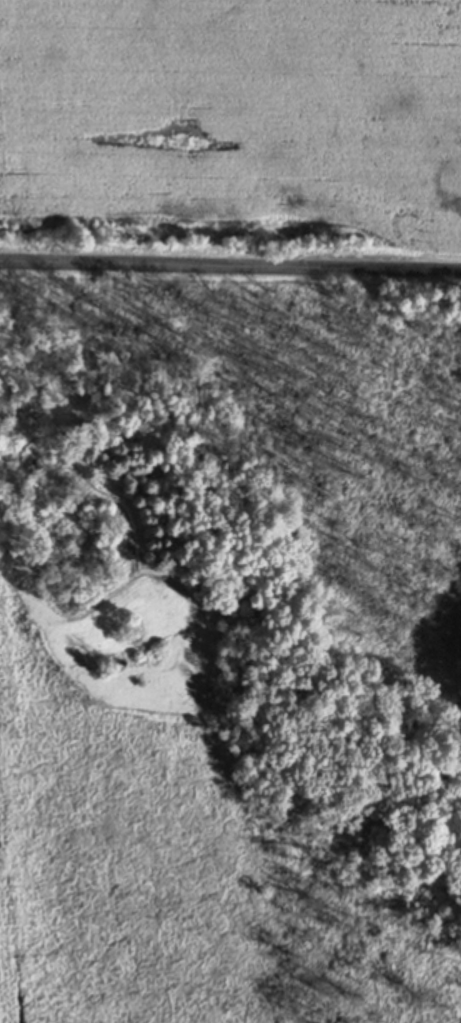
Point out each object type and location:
road: (230, 270)

